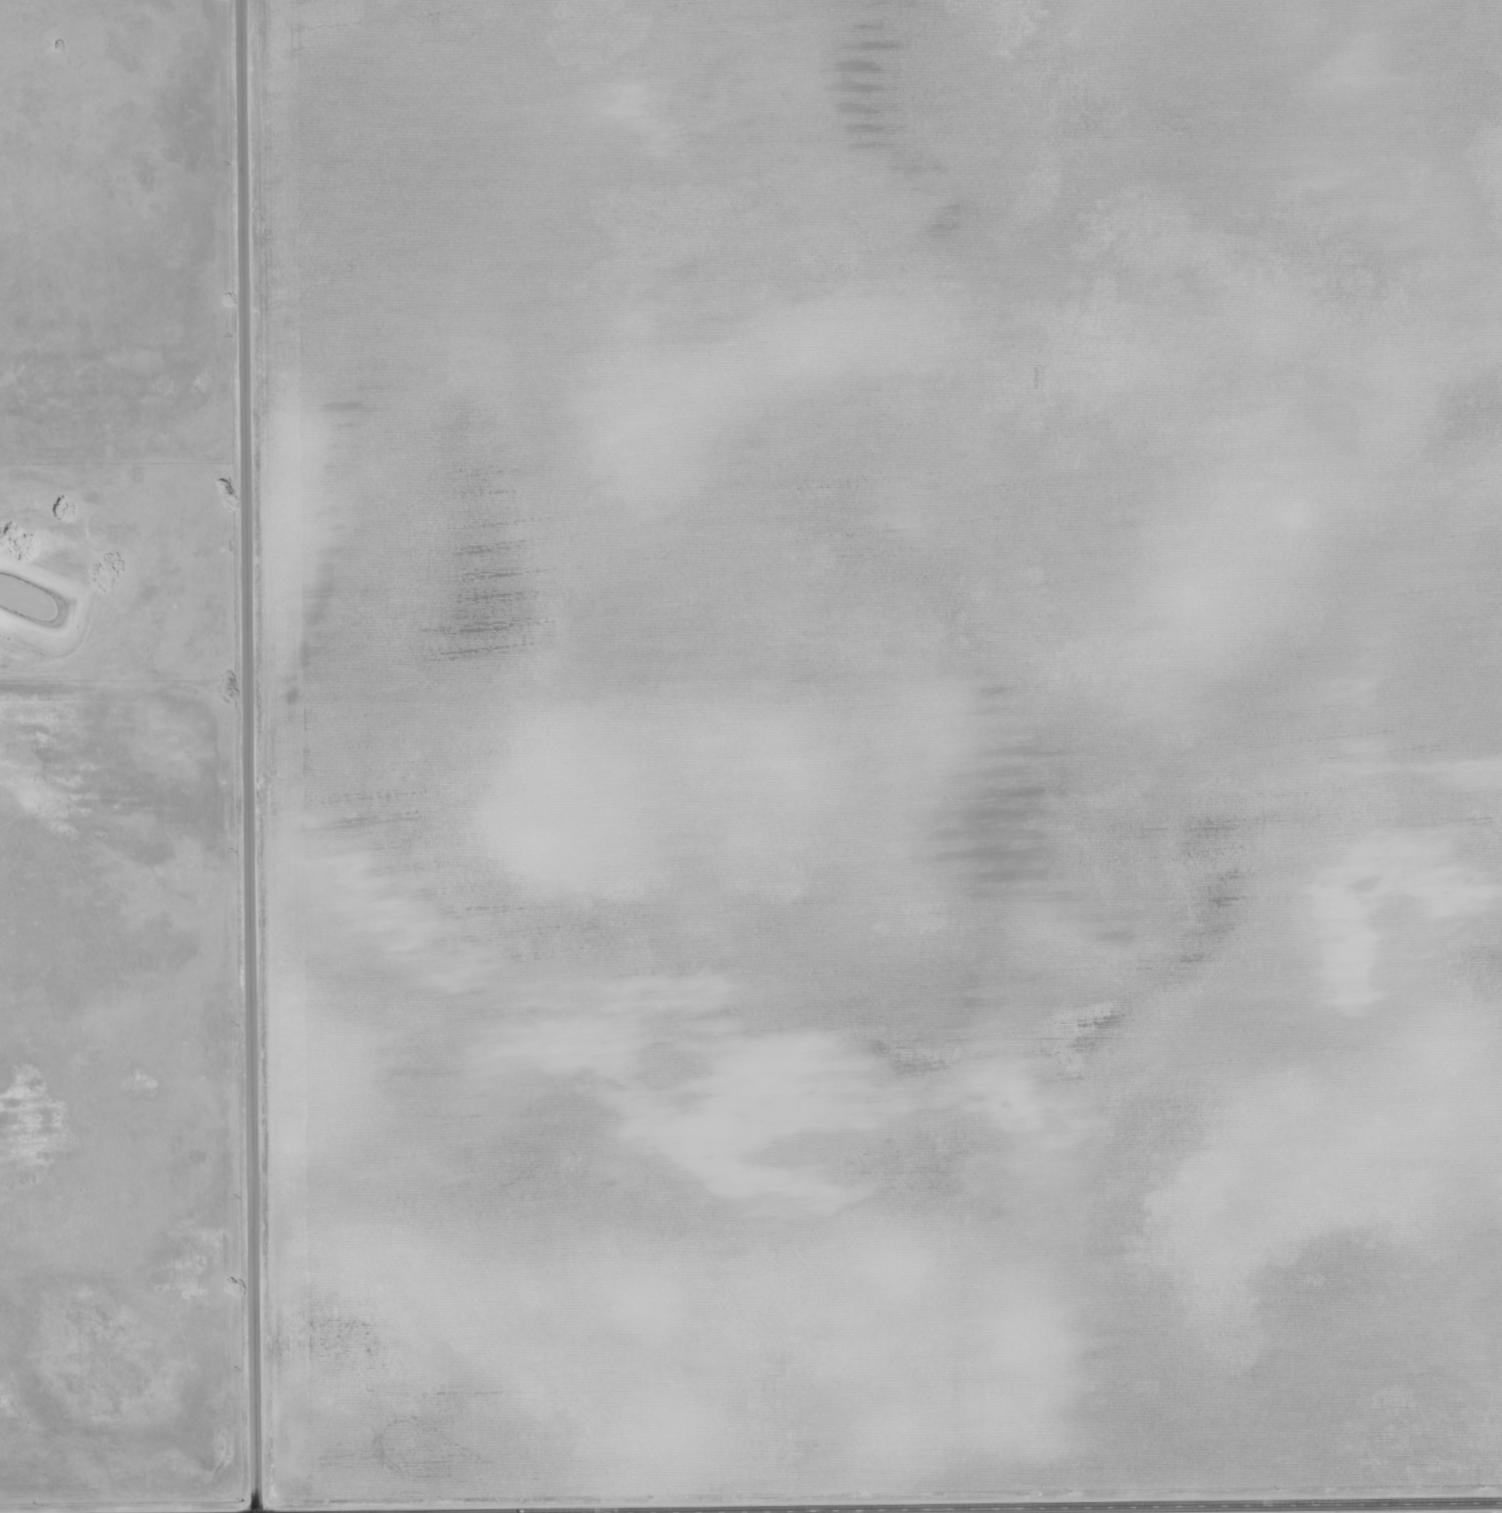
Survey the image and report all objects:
road: (250, 756)
road: (1137, 1508)

